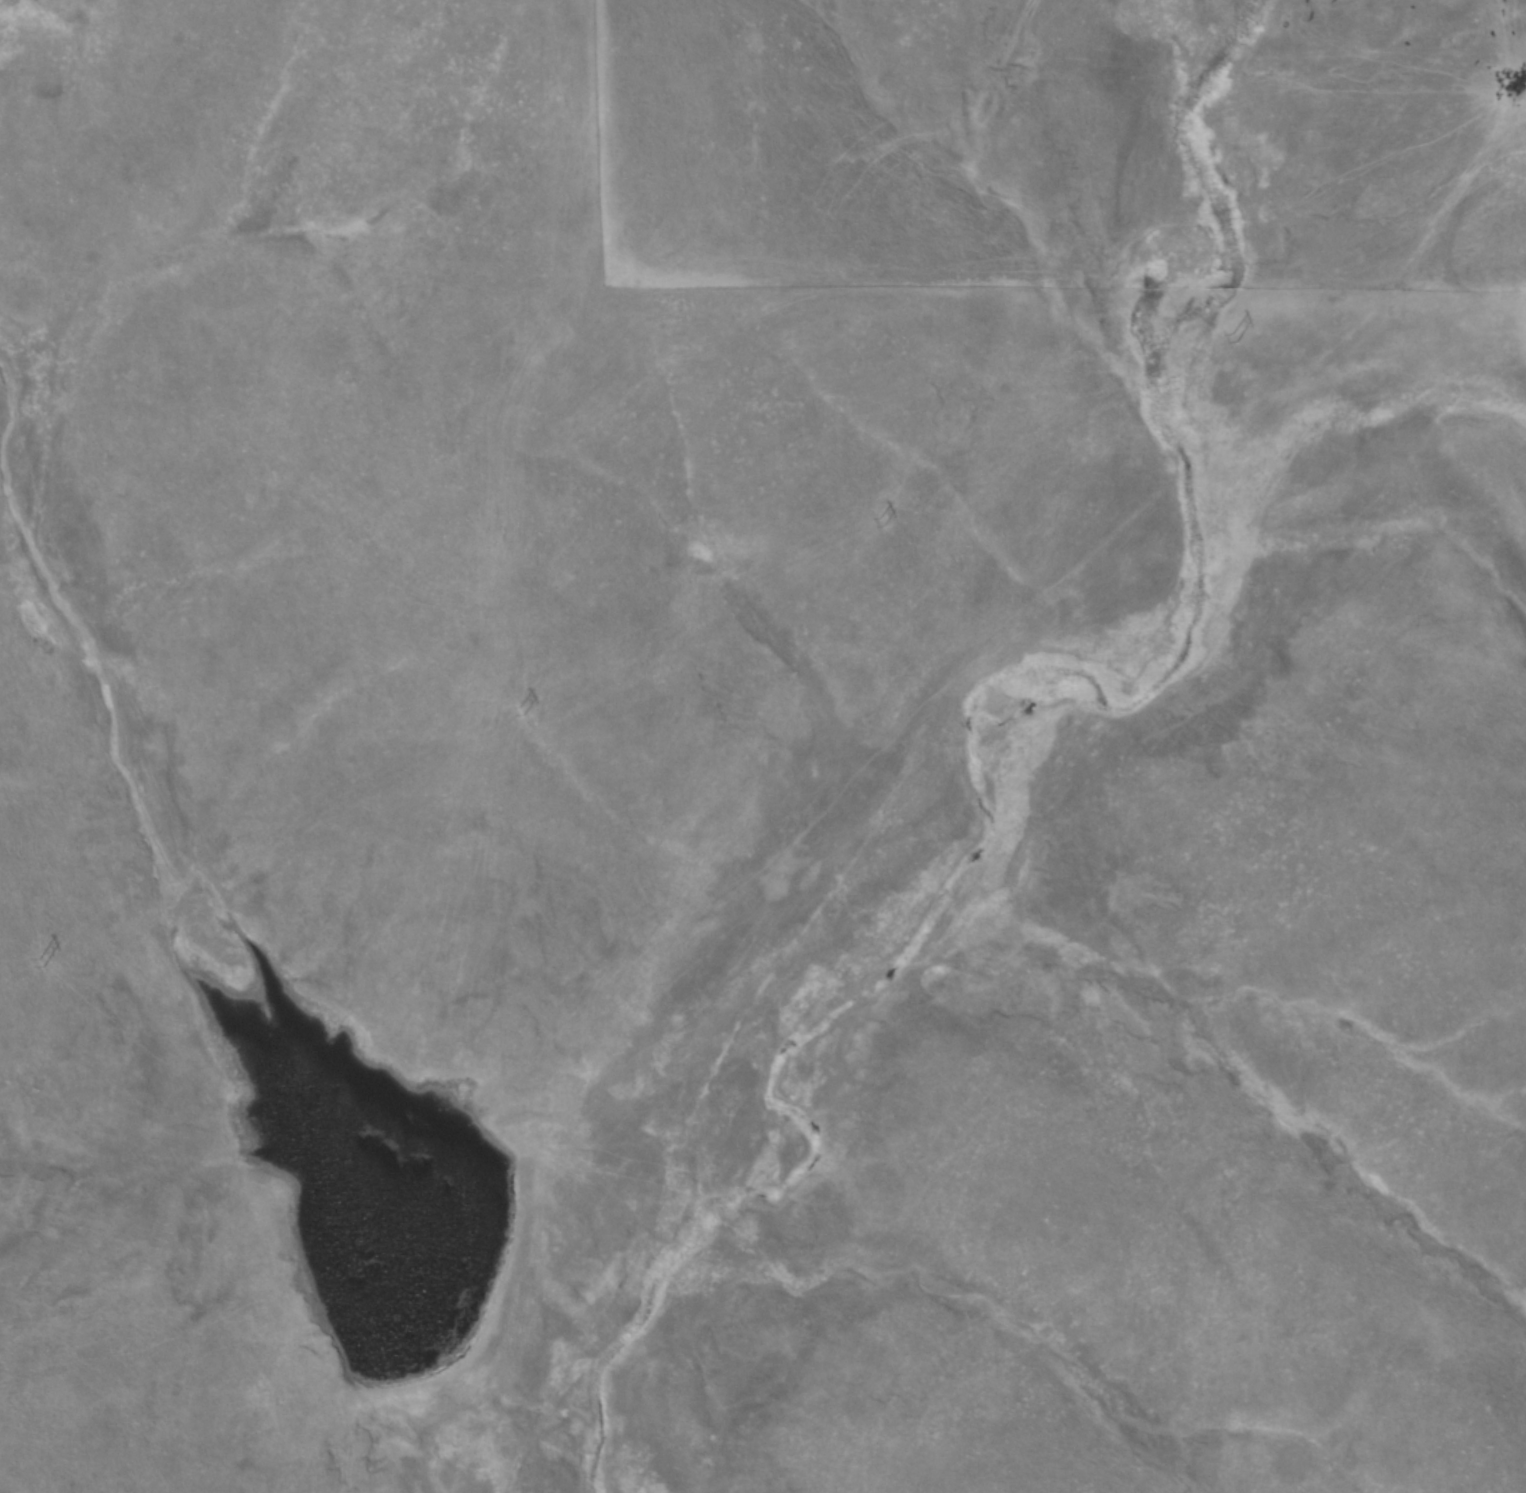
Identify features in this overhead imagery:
road: (1512, 14)
power tower: (1231, 336)
power tower: (880, 521)
power tower: (517, 711)
power tower: (36, 962)

